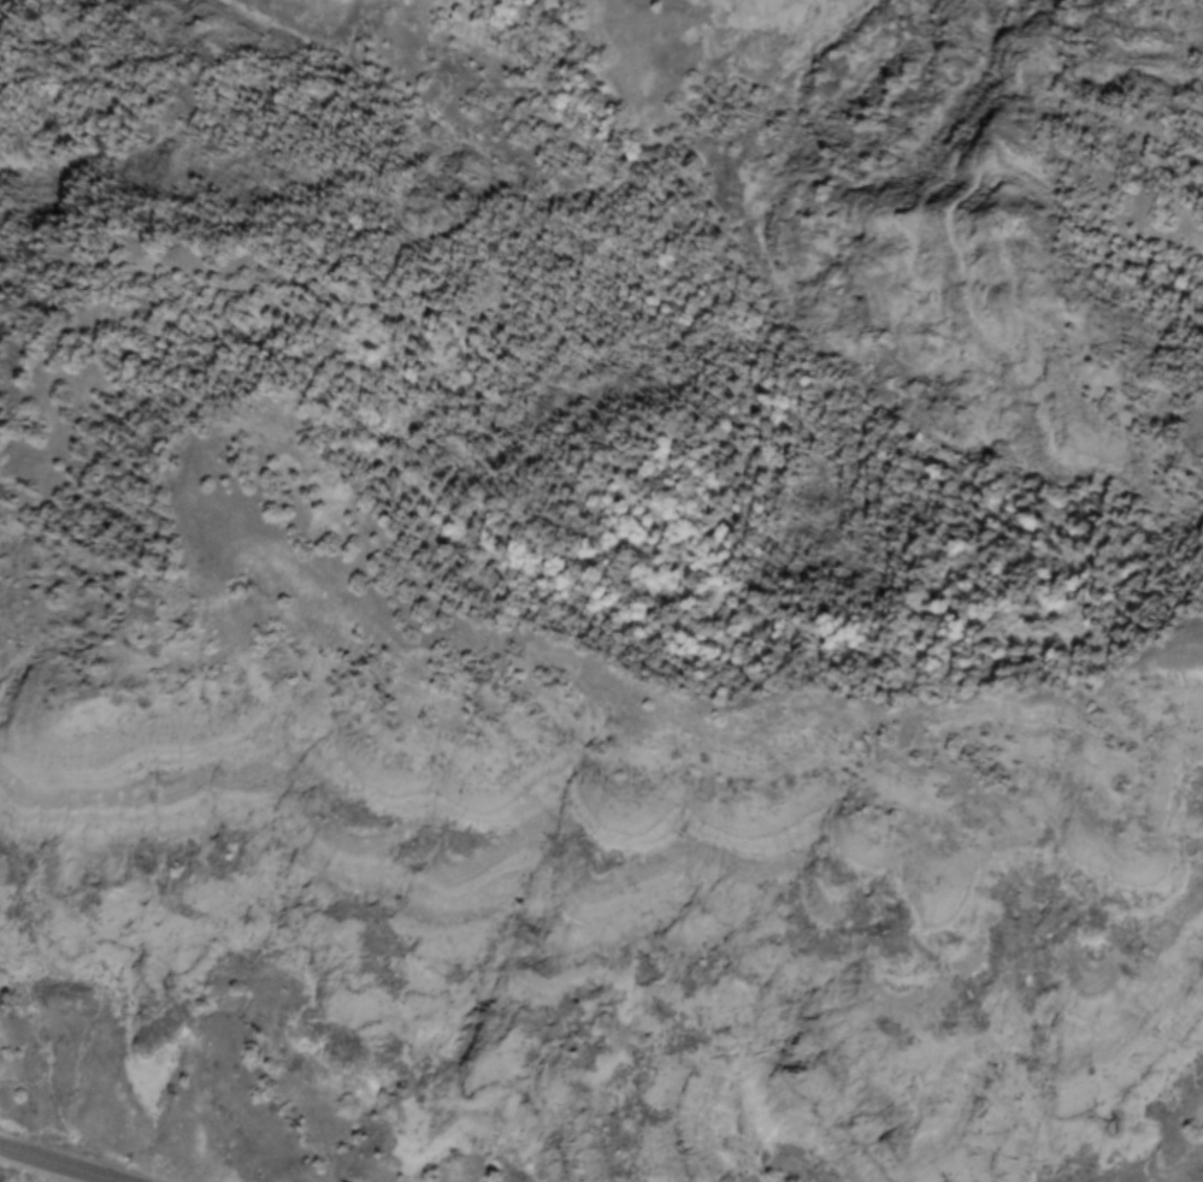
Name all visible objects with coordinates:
road: (54, 1168)

